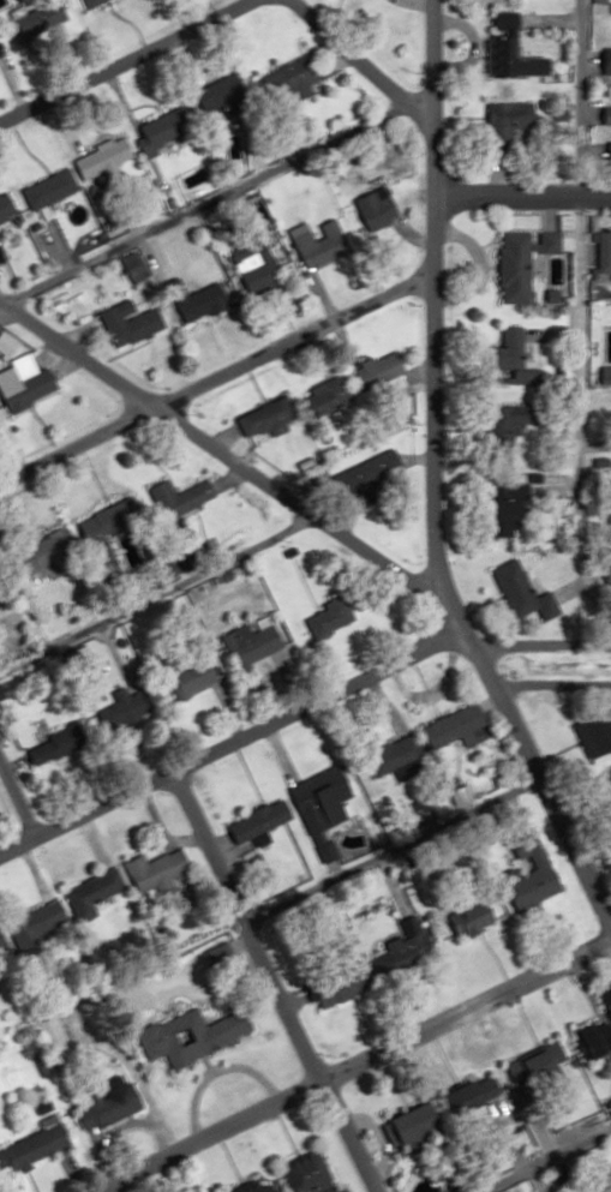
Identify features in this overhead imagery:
building: (43, 16)
road: (119, 58)
road: (353, 58)
building: (601, 68)
building: (292, 79)
building: (222, 96)
building: (601, 116)
building: (501, 126)
building: (168, 127)
building: (605, 151)
building: (52, 187)
road: (519, 191)
building: (7, 205)
building: (378, 206)
building: (323, 242)
building: (598, 252)
building: (1, 253)
building: (541, 256)
building: (259, 268)
building: (507, 268)
building: (205, 300)
building: (132, 322)
road: (425, 345)
road: (212, 367)
building: (385, 367)
building: (604, 375)
building: (41, 382)
building: (340, 389)
building: (266, 419)
building: (497, 427)
road: (226, 461)
building: (180, 496)
building: (493, 517)
building: (113, 519)
building: (606, 523)
building: (173, 567)
building: (508, 589)
building: (327, 617)
road: (490, 630)
building: (257, 642)
building: (196, 677)
road: (545, 687)
building: (119, 711)
building: (455, 729)
building: (591, 731)
building: (58, 745)
road: (188, 751)
building: (399, 754)
building: (605, 780)
building: (460, 797)
building: (328, 799)
road: (546, 809)
road: (11, 813)
building: (262, 820)
building: (157, 869)
building: (522, 873)
building: (98, 893)
building: (465, 917)
building: (40, 924)
building: (396, 945)
road: (266, 977)
building: (341, 986)
building: (594, 1029)
building: (193, 1036)
building: (59, 1038)
road: (348, 1064)
building: (525, 1065)
building: (112, 1107)
road: (485, 1110)
building: (402, 1124)
building: (40, 1144)
building: (311, 1173)
building: (270, 1188)

